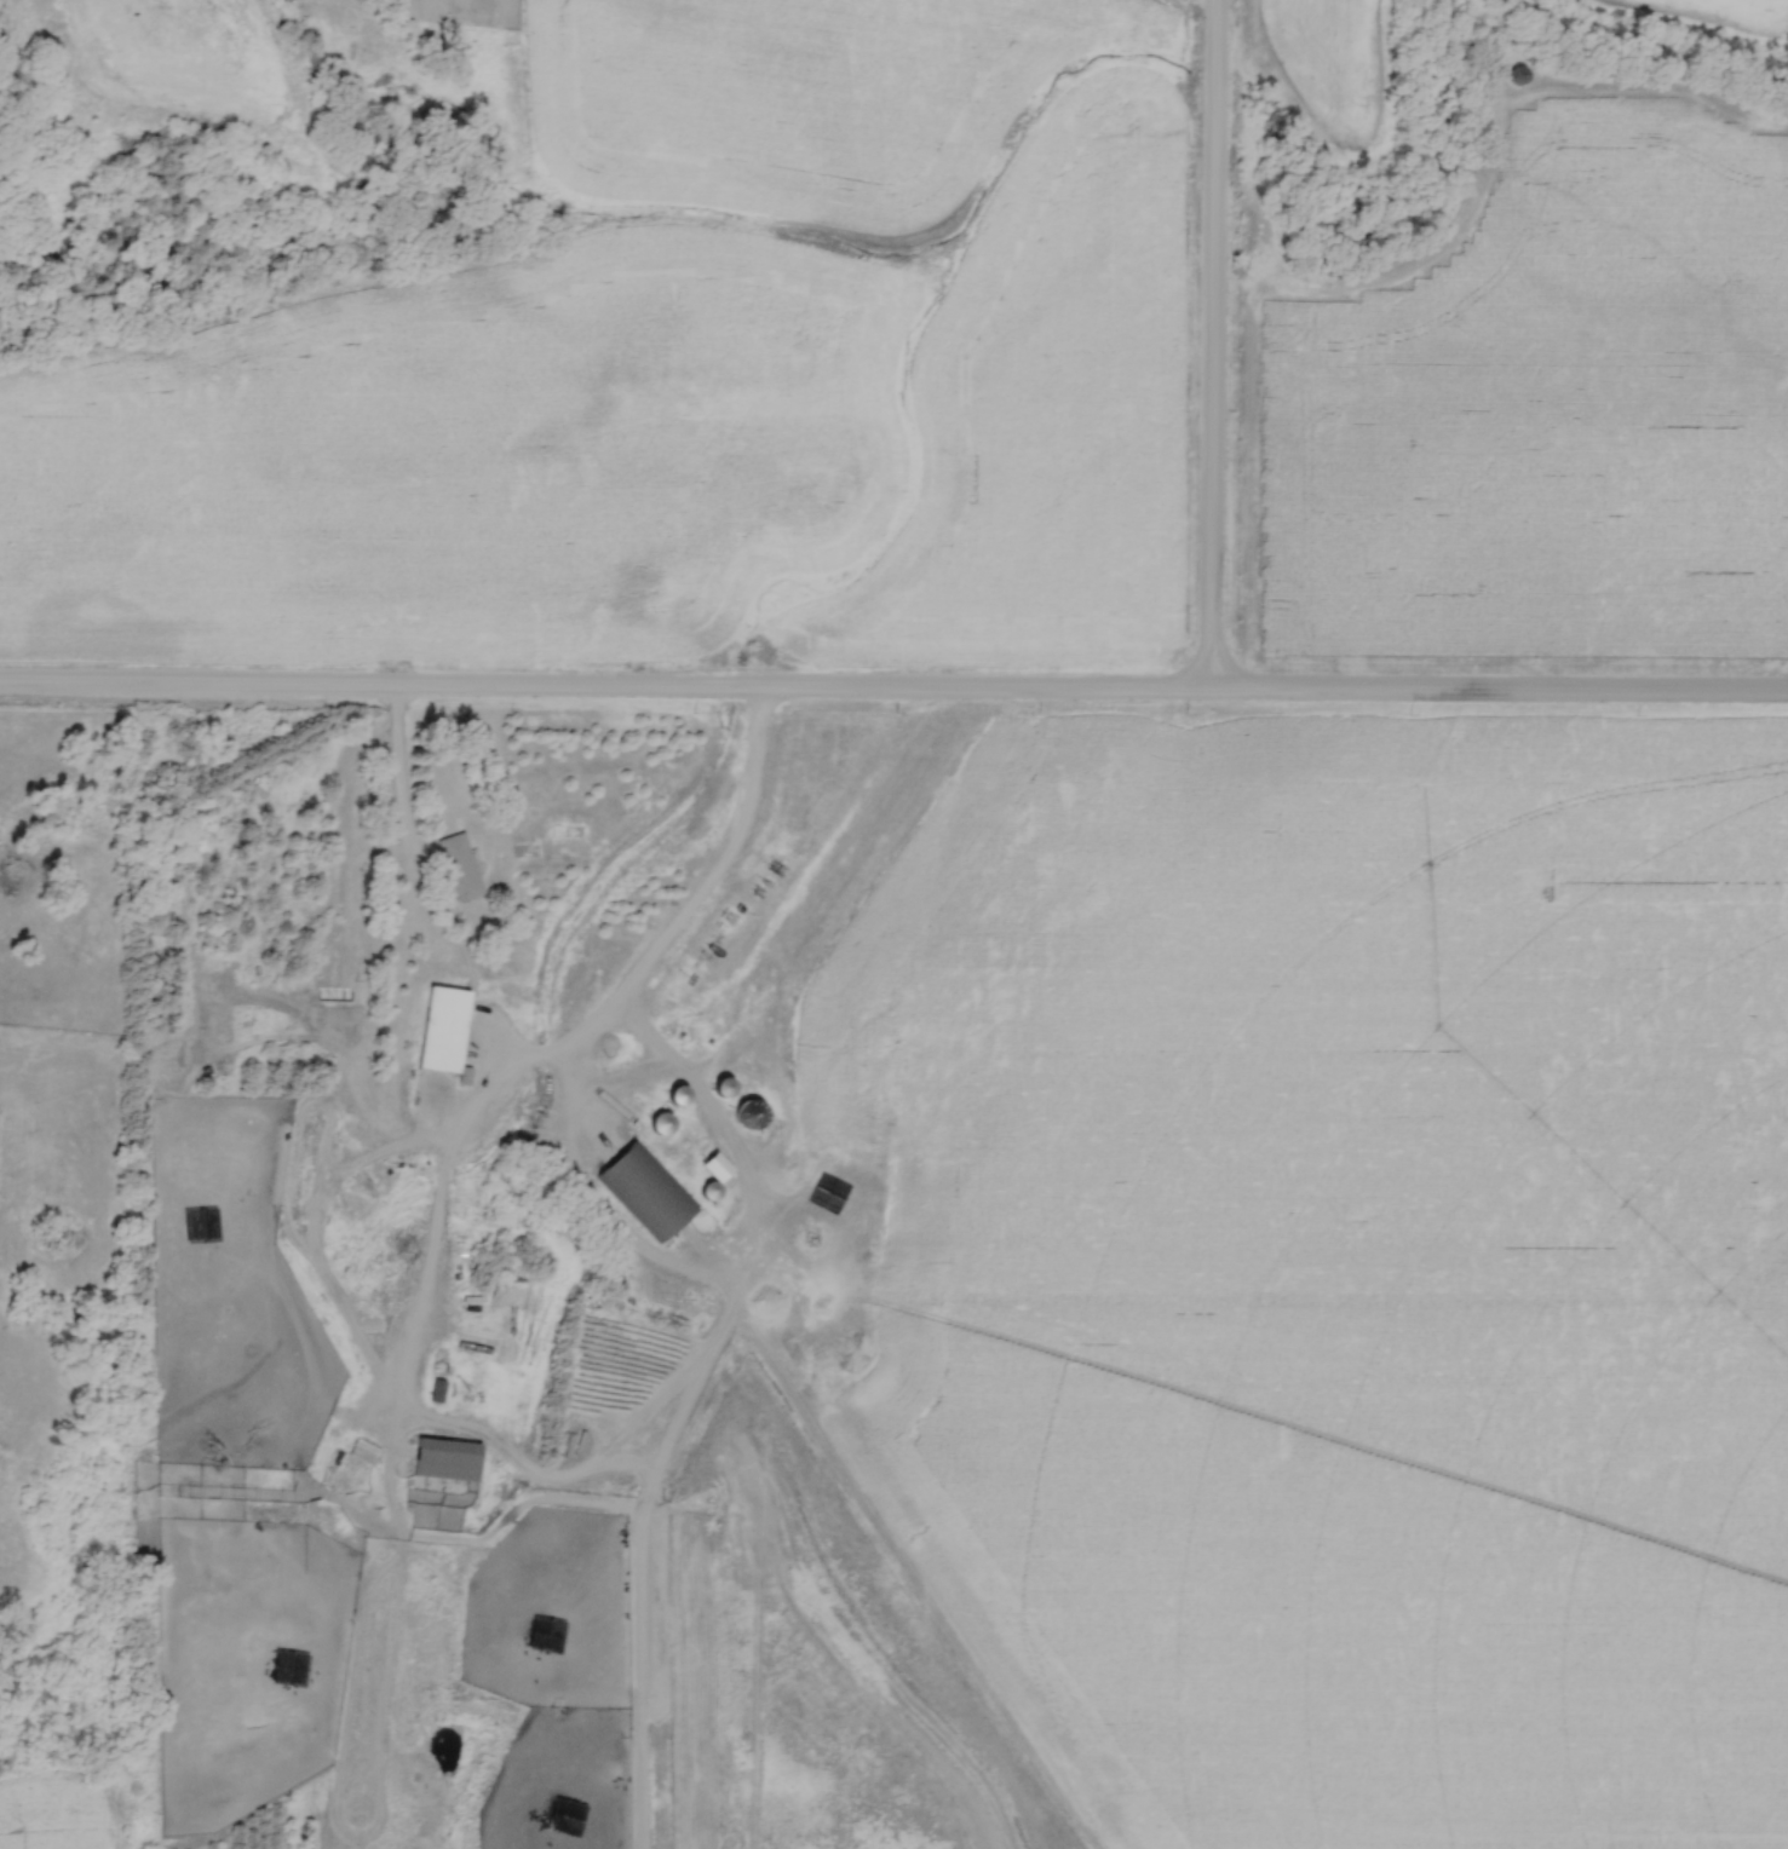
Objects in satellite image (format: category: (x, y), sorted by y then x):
road: (1214, 0)
building: (1516, 76)
road: (1215, 347)
road: (893, 693)
road: (399, 778)
building: (458, 868)
building: (841, 926)
building: (441, 1041)
building: (721, 1089)
building: (661, 1125)
building: (683, 1137)
building: (715, 1169)
building: (646, 1192)
road: (398, 1390)
building: (362, 1452)
building: (445, 1461)

